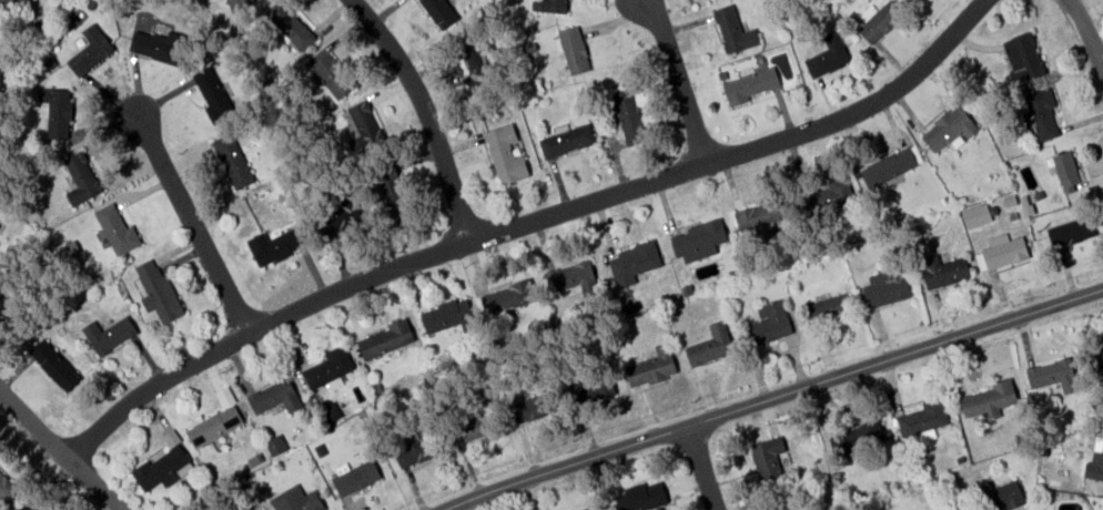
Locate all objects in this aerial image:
building: (10, 2)
building: (235, 4)
building: (550, 7)
building: (441, 11)
building: (880, 19)
building: (289, 25)
building: (733, 32)
road: (1087, 32)
building: (159, 42)
building: (91, 48)
building: (574, 49)
building: (830, 53)
building: (1022, 55)
building: (480, 65)
building: (335, 74)
road: (681, 81)
building: (750, 83)
building: (215, 95)
building: (58, 109)
building: (1042, 112)
road: (427, 114)
building: (628, 116)
building: (951, 126)
building: (364, 129)
building: (567, 137)
building: (505, 154)
building: (233, 161)
building: (889, 165)
building: (1066, 171)
building: (82, 177)
building: (826, 193)
building: (399, 196)
building: (760, 214)
building: (976, 214)
building: (340, 222)
road: (194, 225)
road: (529, 225)
building: (115, 228)
building: (1070, 231)
building: (696, 239)
building: (276, 245)
building: (1004, 249)
building: (633, 262)
building: (944, 269)
building: (568, 274)
building: (886, 289)
building: (160, 292)
building: (508, 294)
building: (829, 309)
building: (447, 313)
building: (770, 323)
building: (110, 335)
building: (386, 338)
building: (711, 345)
building: (1097, 356)
building: (324, 366)
building: (652, 366)
building: (53, 367)
building: (1053, 375)
building: (591, 388)
building: (277, 396)
road: (770, 397)
building: (992, 398)
building: (530, 406)
building: (925, 418)
building: (214, 425)
building: (474, 427)
building: (859, 436)
building: (275, 443)
road: (62, 449)
building: (416, 452)
building: (768, 458)
building: (1095, 460)
building: (164, 463)
road: (704, 467)
building: (355, 478)
building: (4, 484)
building: (1002, 494)
building: (642, 496)
building: (296, 500)
building: (783, 506)
building: (32, 507)
building: (583, 508)
building: (938, 509)

